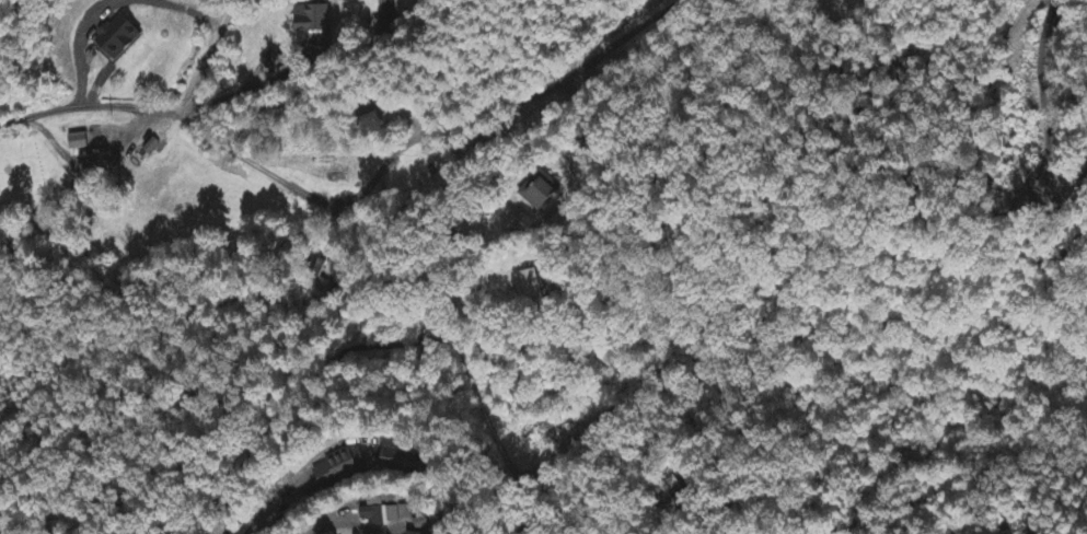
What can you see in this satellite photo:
building: (385, 1)
building: (313, 22)
building: (123, 38)
road: (210, 55)
building: (81, 143)
road: (570, 184)
building: (540, 194)
building: (527, 288)
building: (396, 457)
building: (340, 469)
road: (735, 503)
building: (384, 513)
road: (1016, 532)

